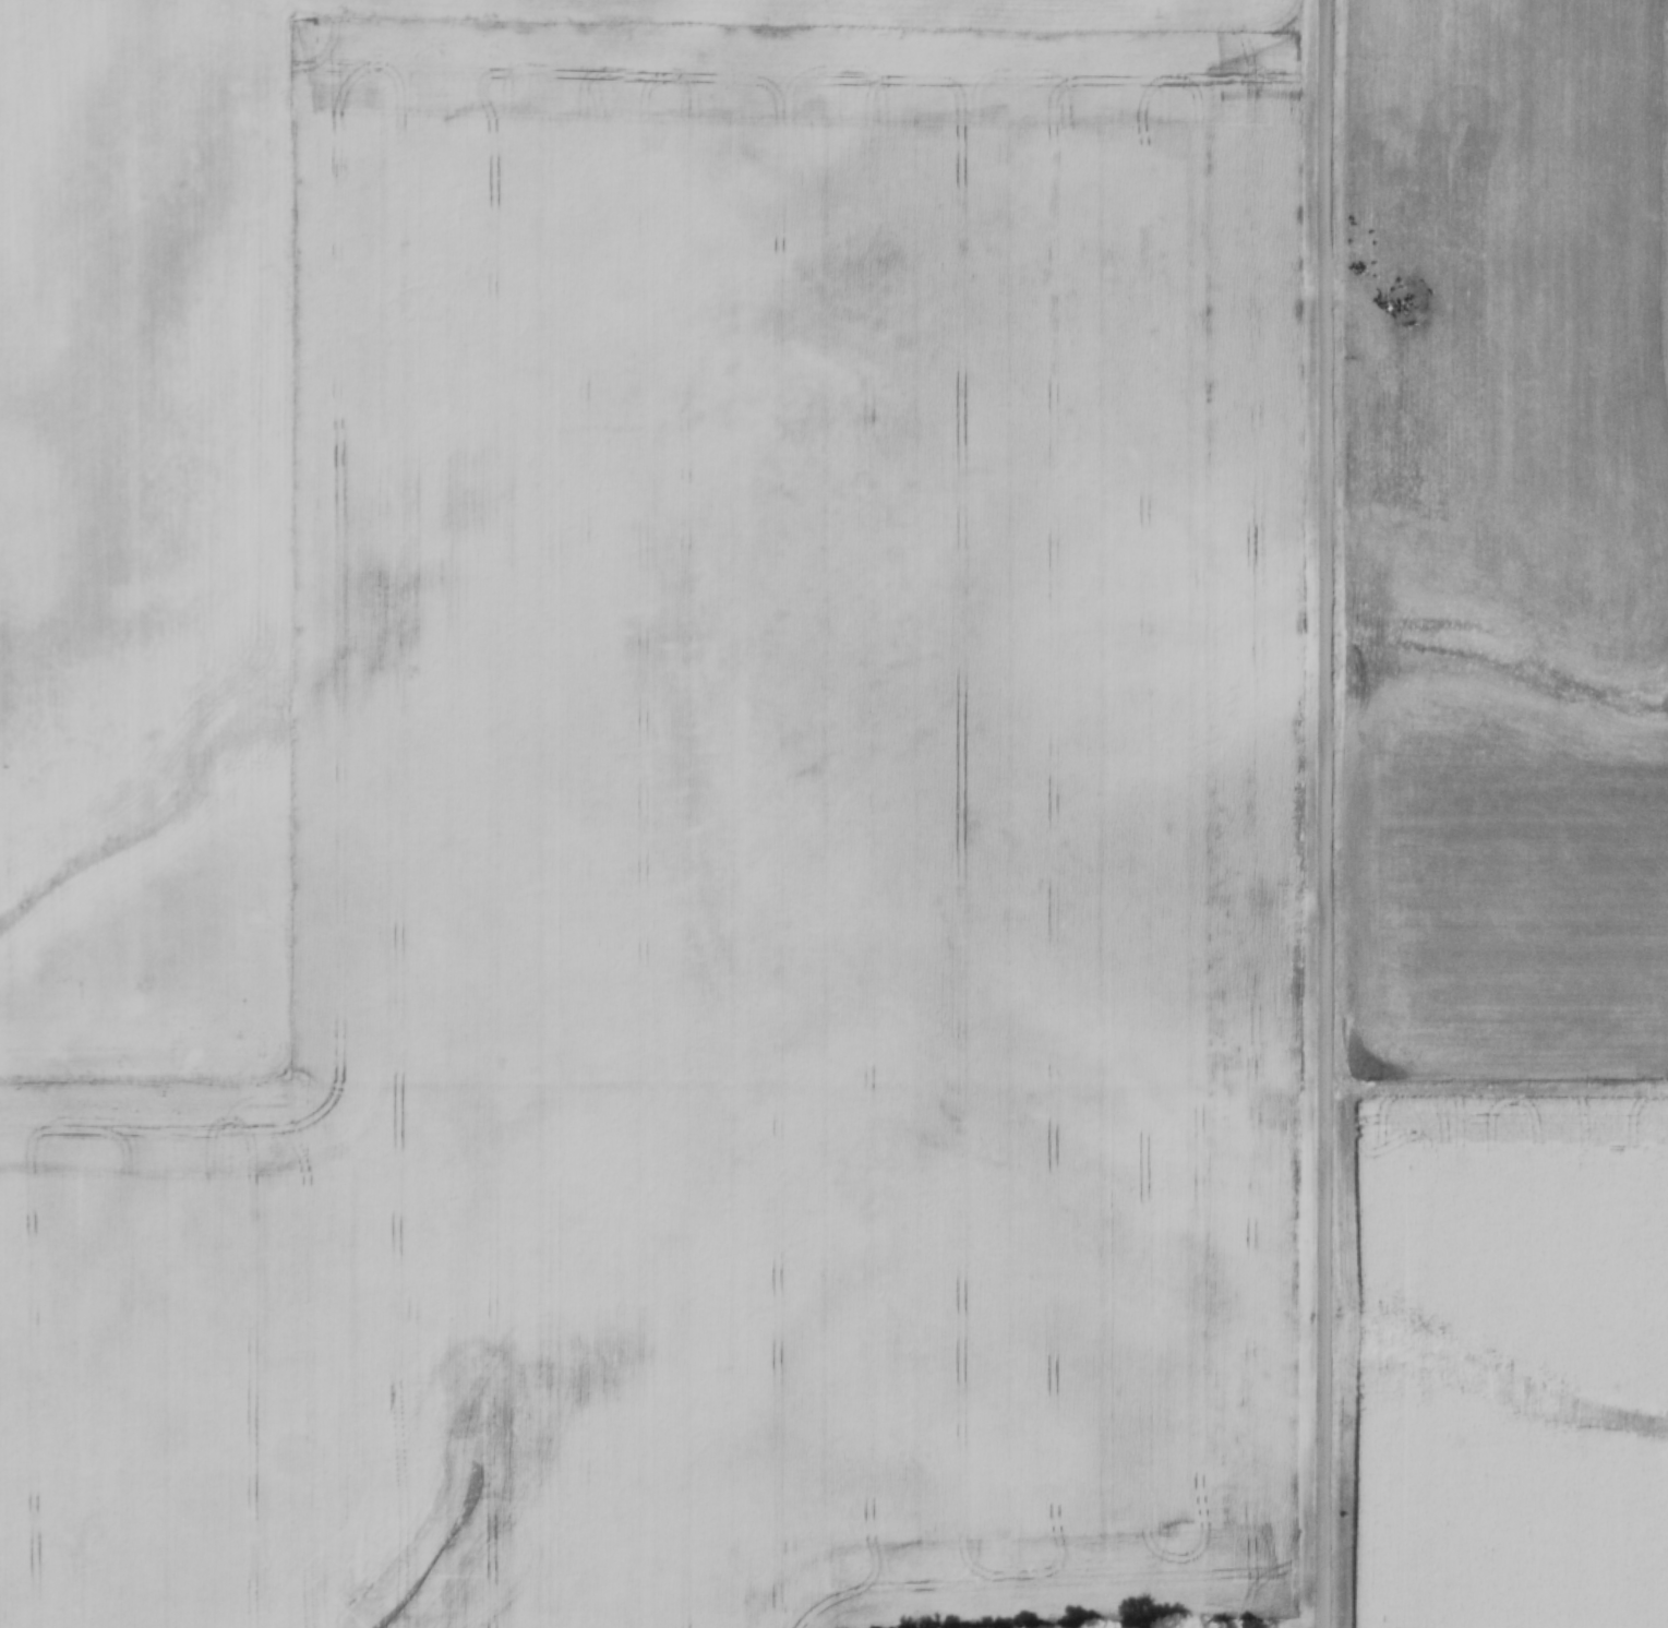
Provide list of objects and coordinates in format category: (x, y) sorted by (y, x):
road: (1327, 814)

